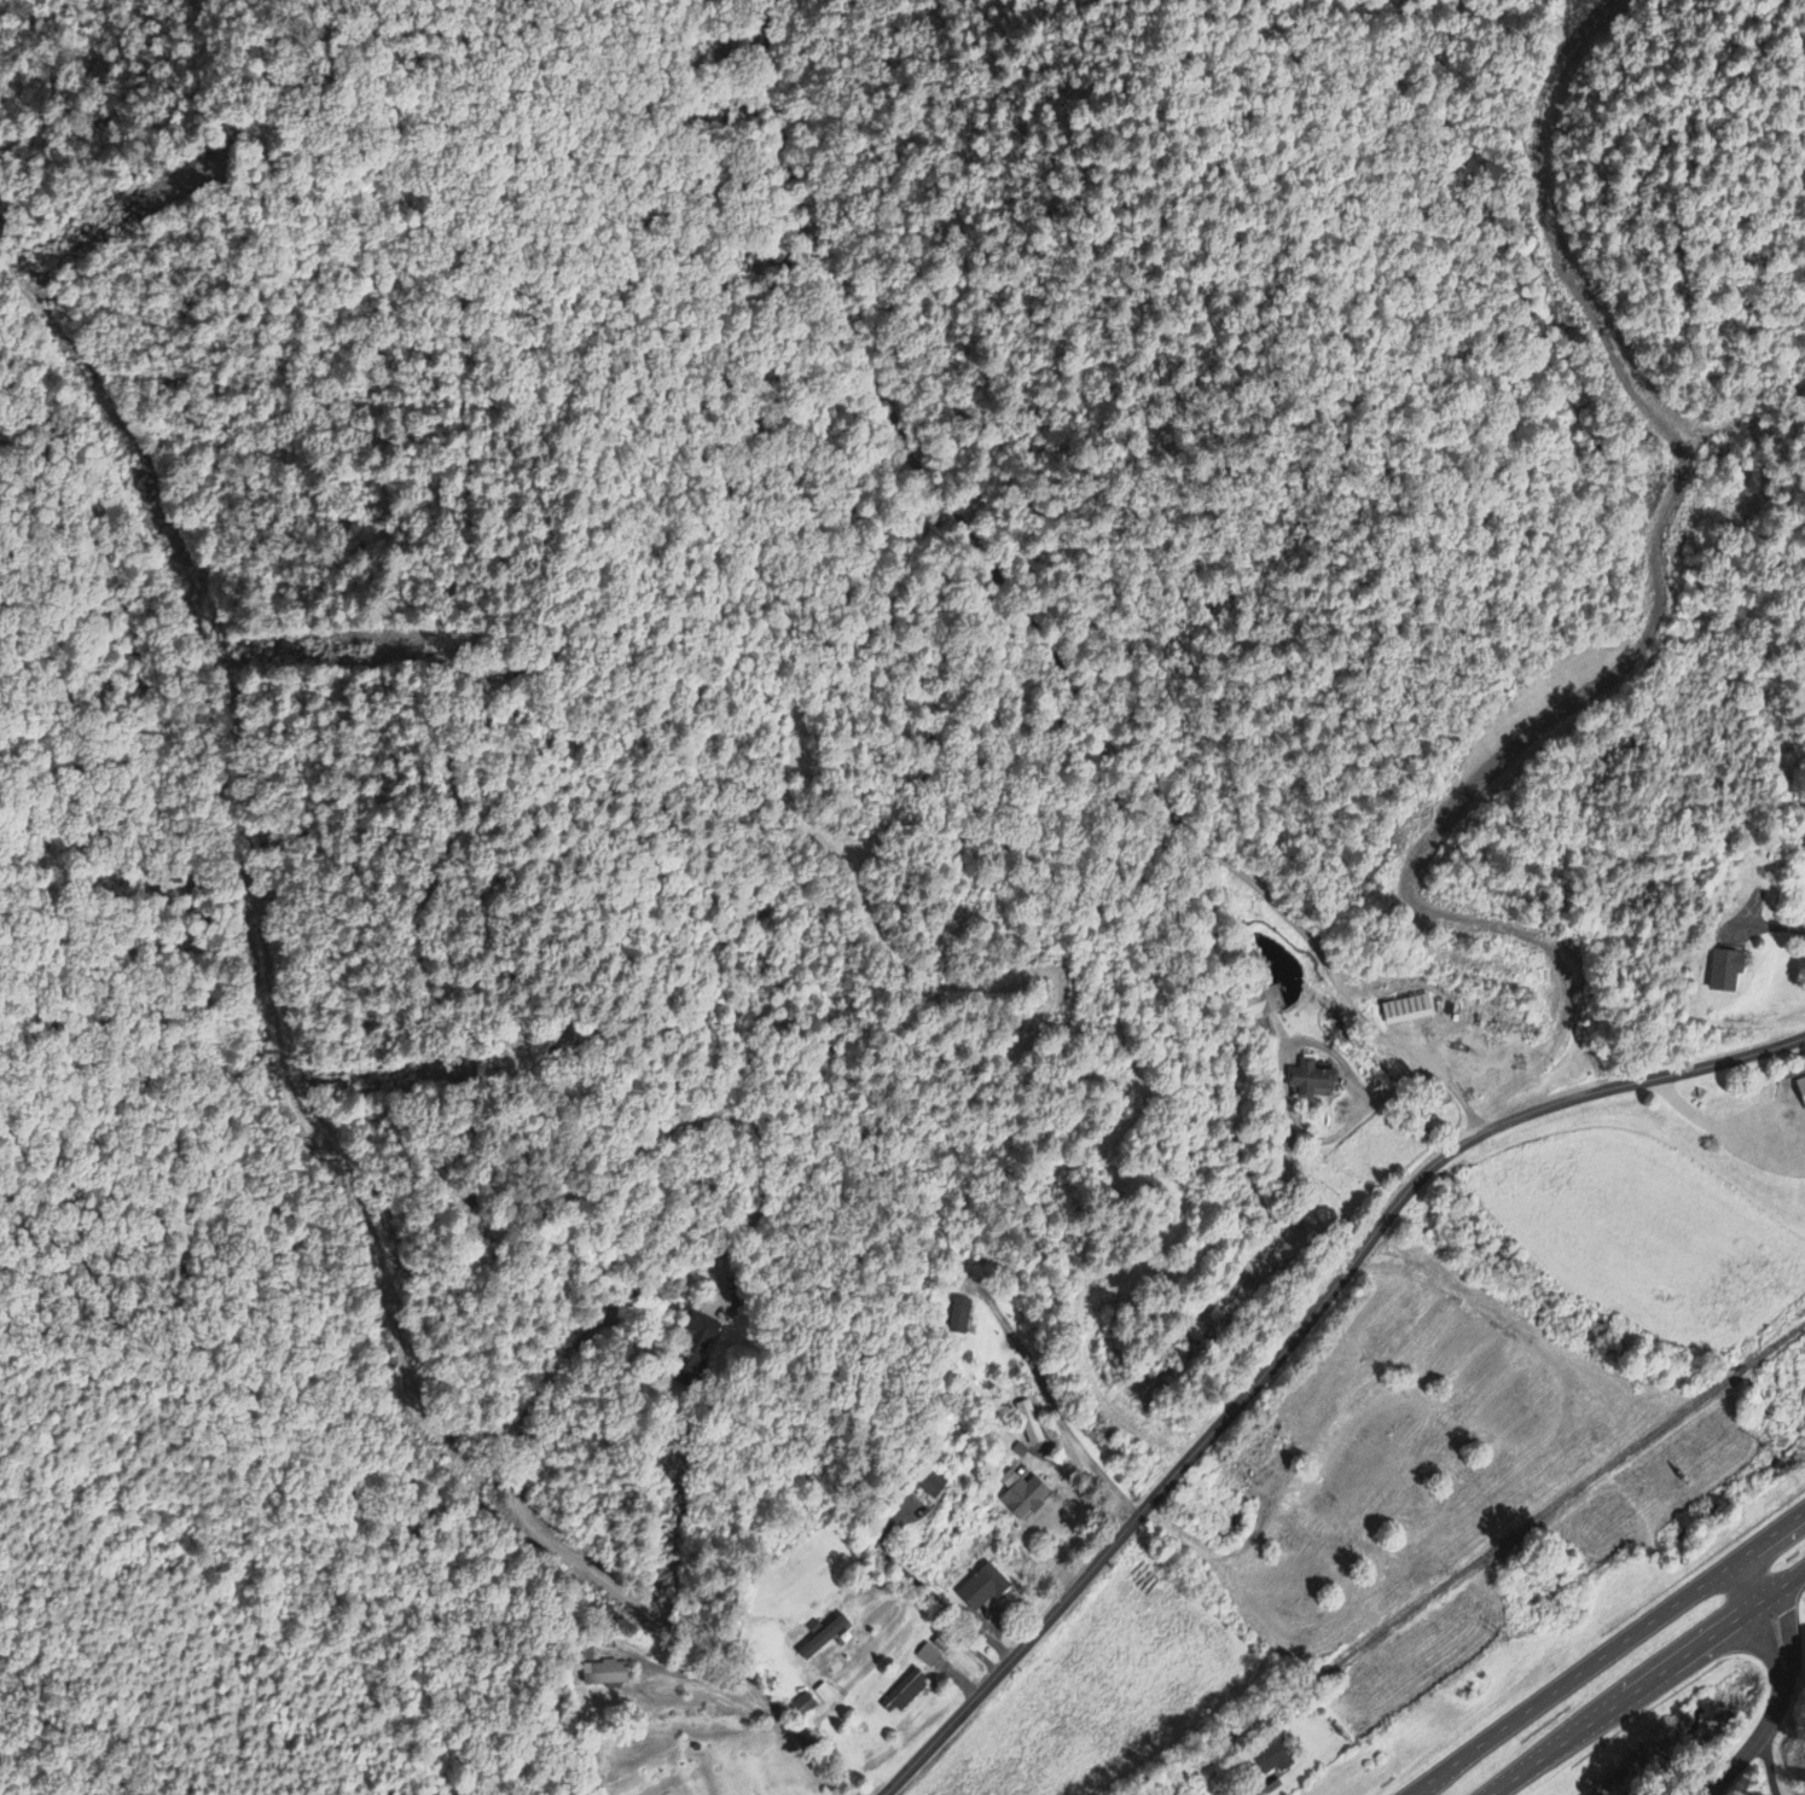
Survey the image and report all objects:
road: (1078, 662)
building: (1724, 971)
building: (1404, 1011)
road: (442, 1032)
building: (1800, 1086)
building: (1324, 1087)
road: (1791, 1125)
road: (1743, 1135)
road: (1724, 1138)
building: (958, 1317)
road: (1295, 1335)
building: (697, 1344)
road: (454, 1410)
building: (931, 1483)
building: (1021, 1495)
railway: (1478, 1559)
building: (981, 1588)
building: (822, 1639)
road: (1604, 1652)
building: (928, 1656)
building: (604, 1674)
road: (1646, 1683)
road: (1782, 1683)
building: (901, 1695)
building: (801, 1708)
building: (1271, 1756)
road: (1260, 1791)

